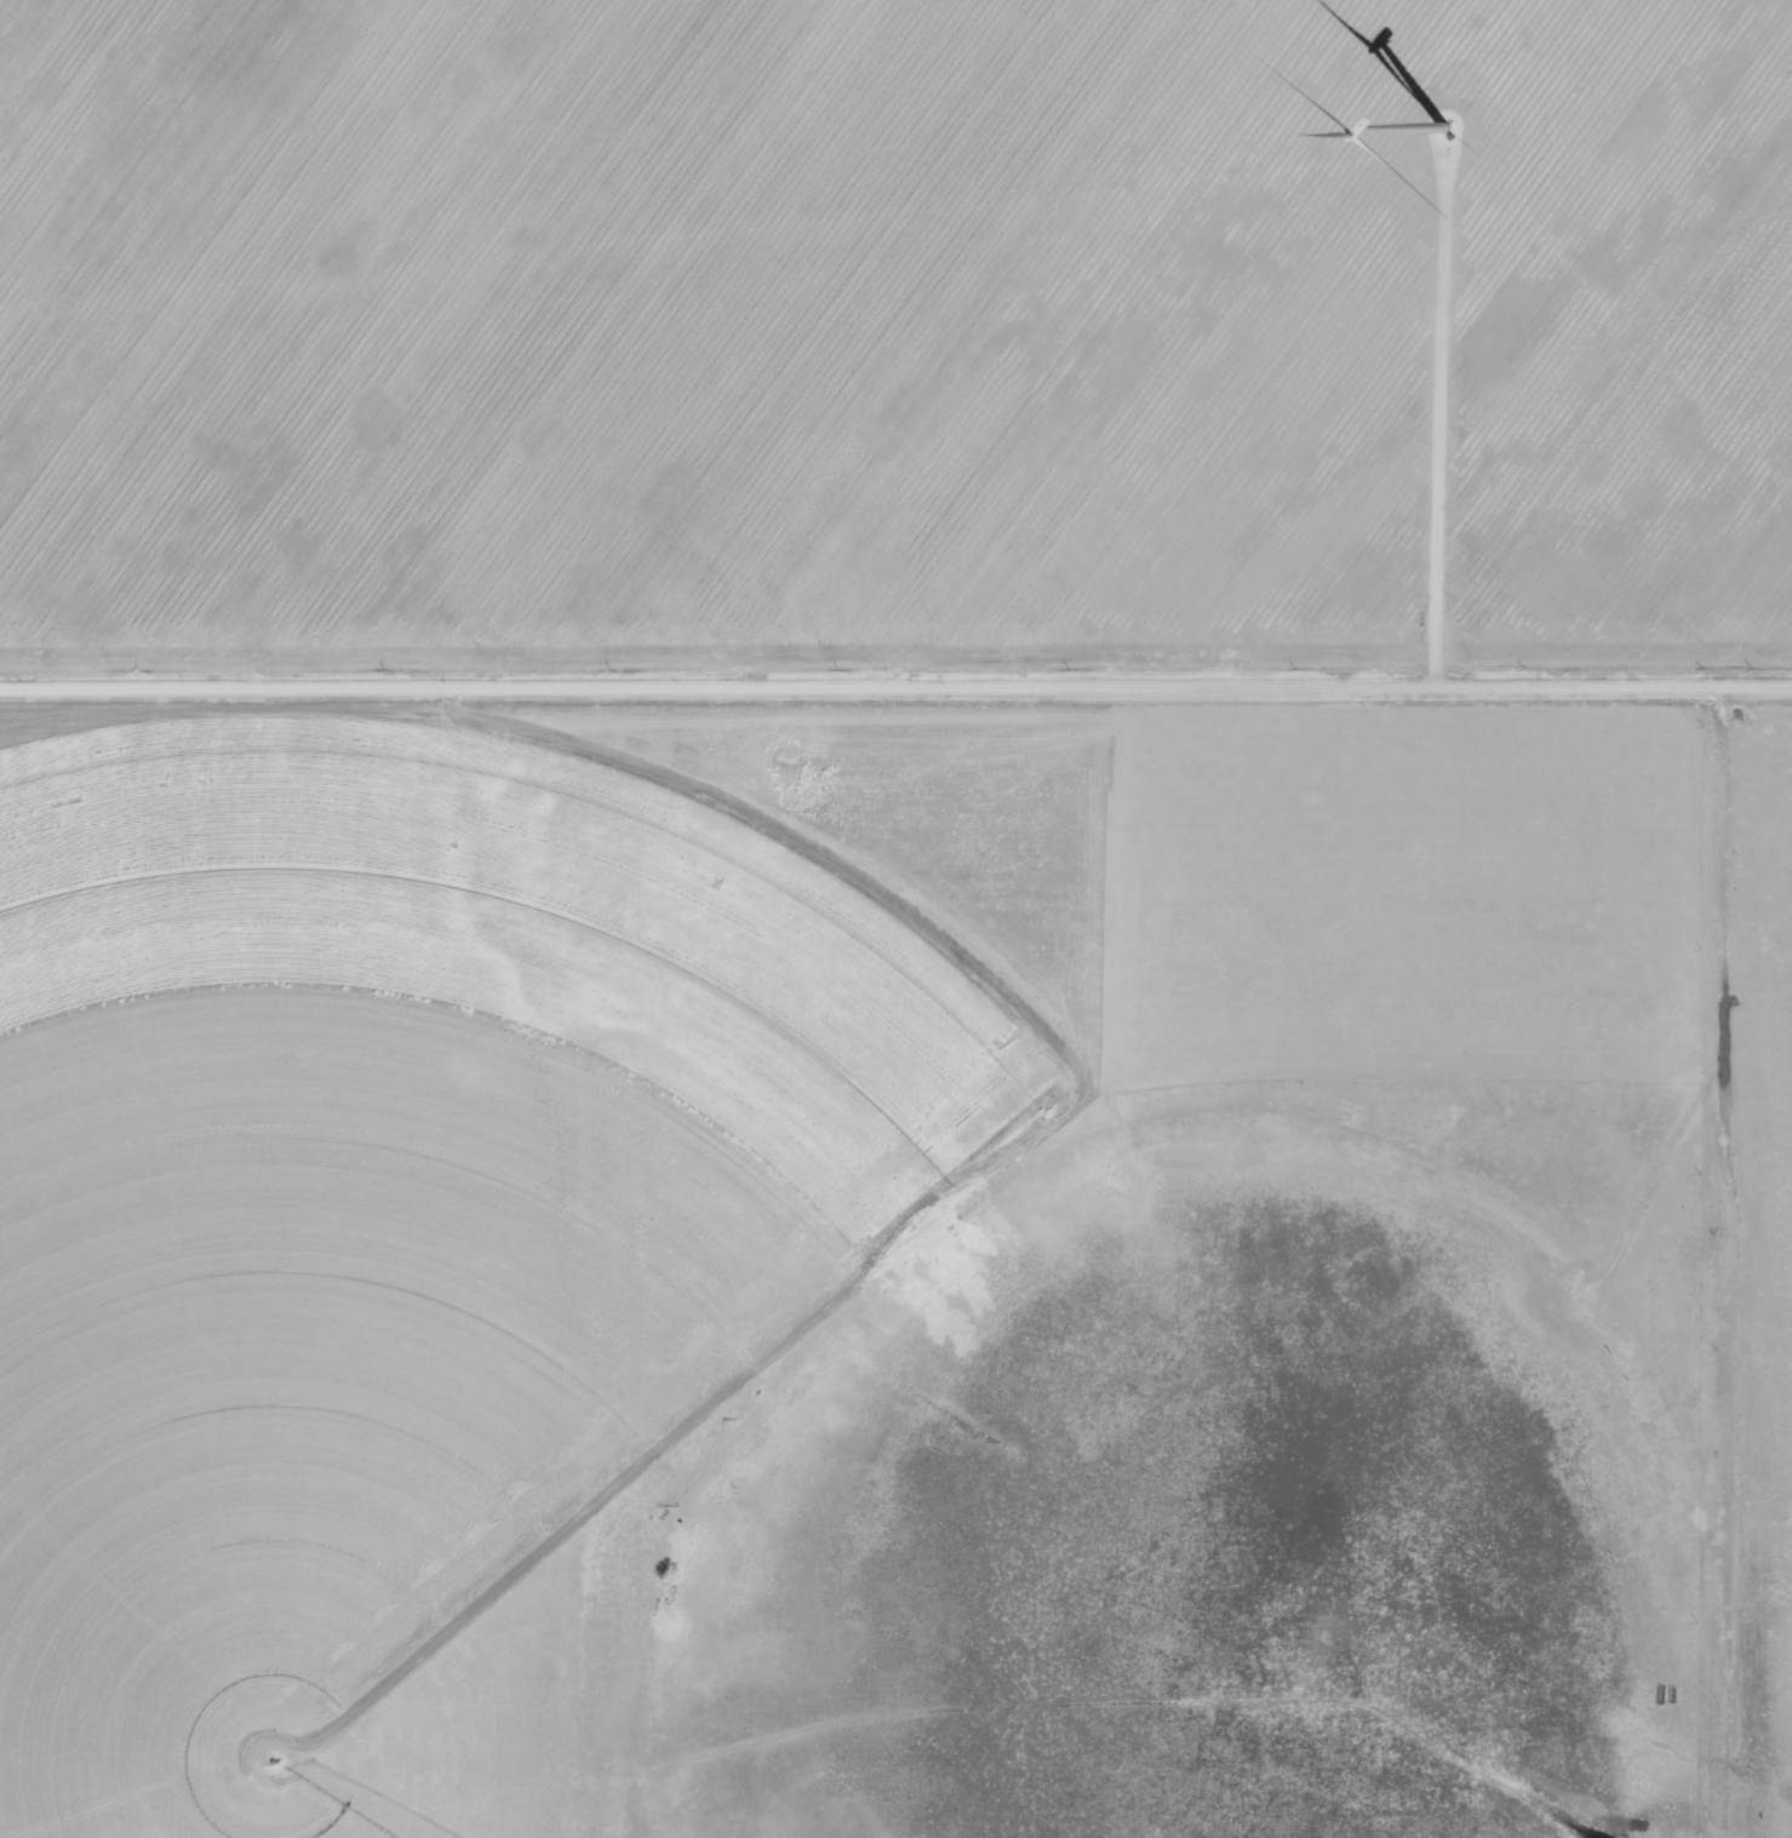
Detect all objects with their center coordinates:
wind turbine: (1439, 131)
road: (895, 691)

